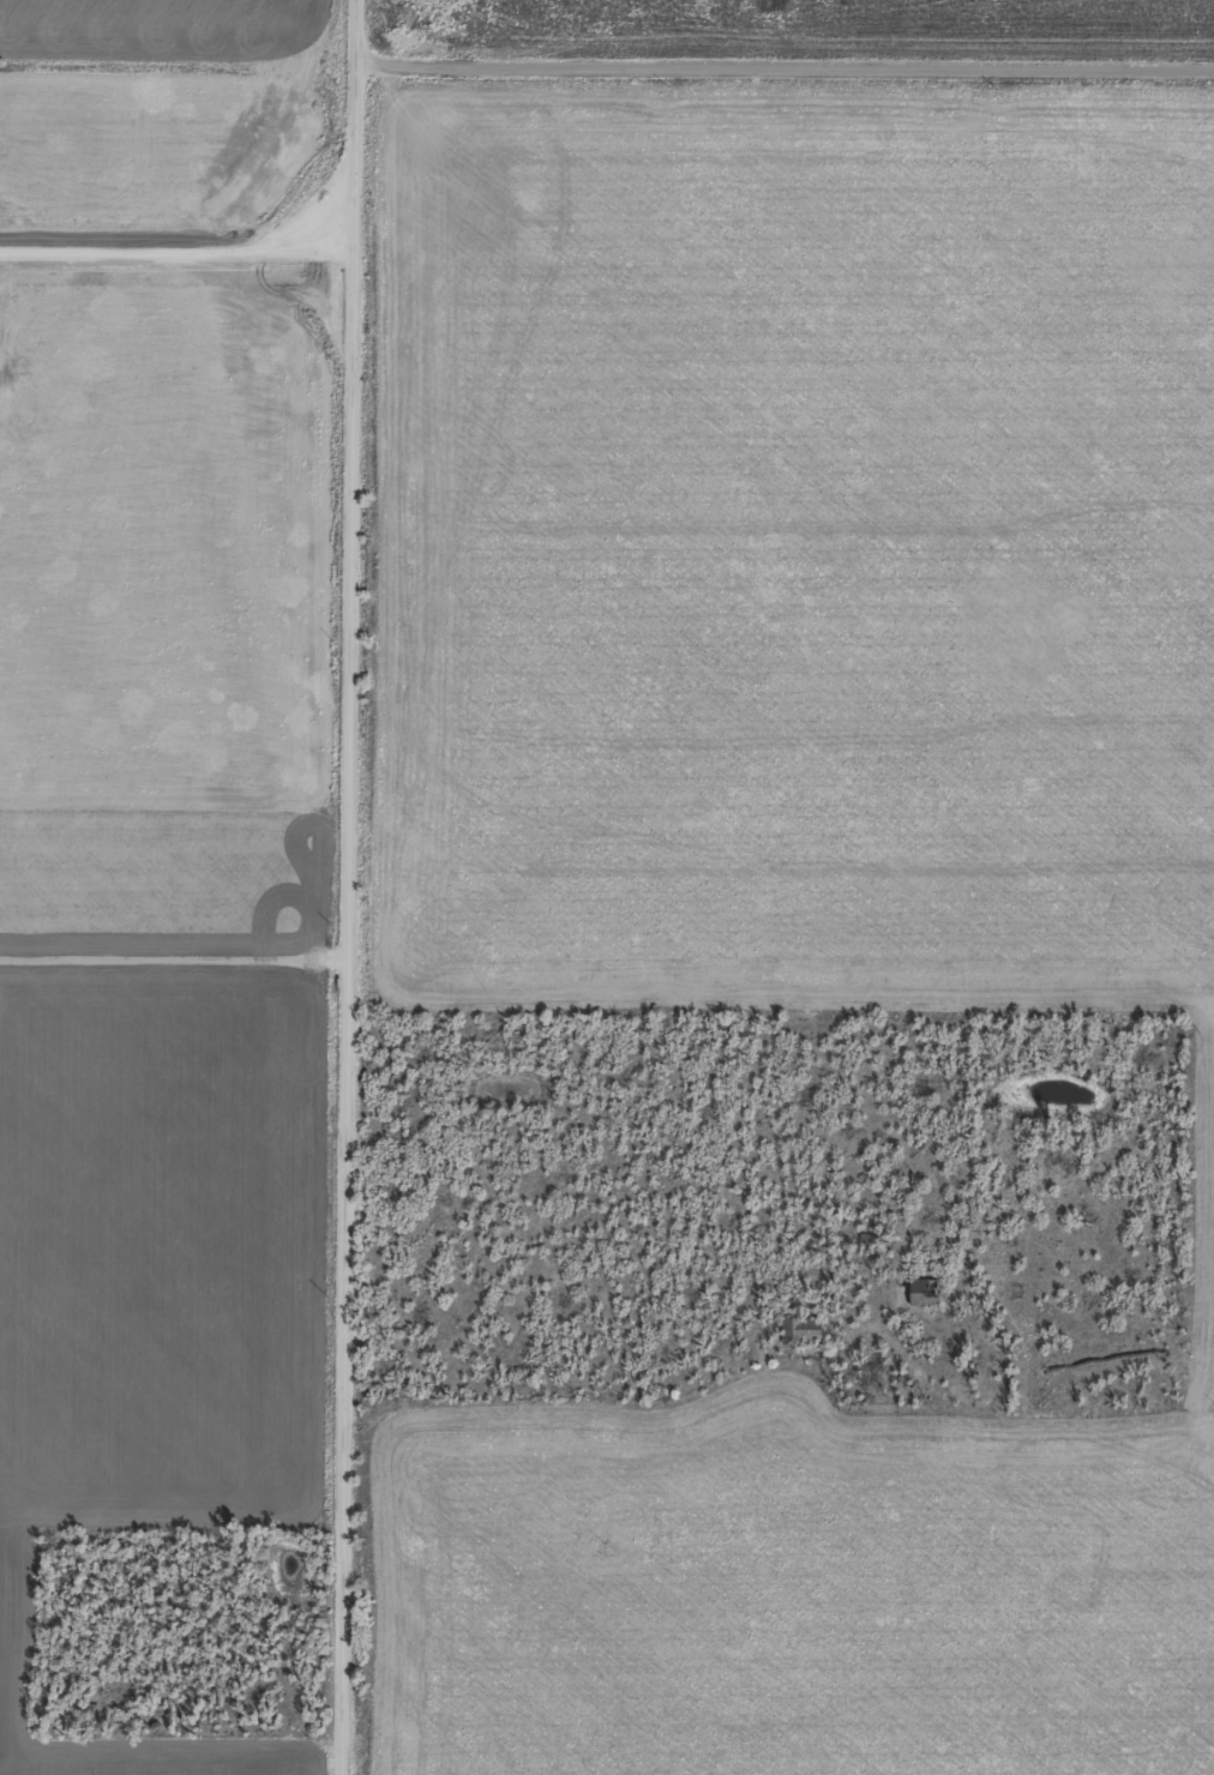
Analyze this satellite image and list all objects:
road: (764, 85)
road: (303, 886)
road: (151, 952)
building: (922, 1293)
road: (599, 1402)

